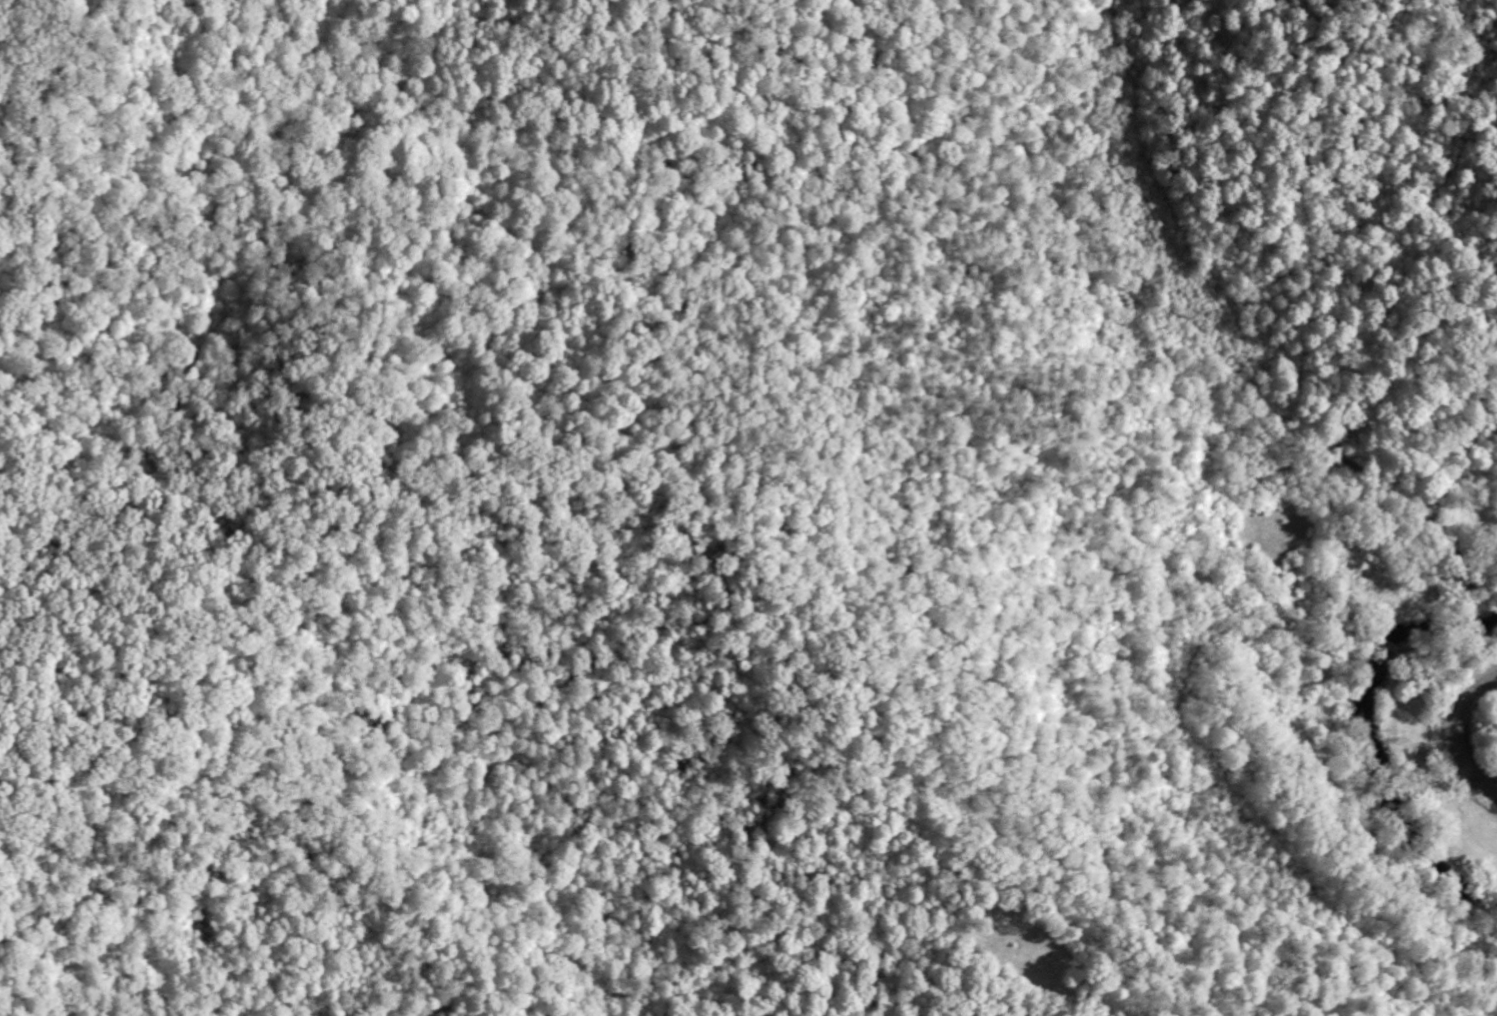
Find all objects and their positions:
road: (1456, 730)

